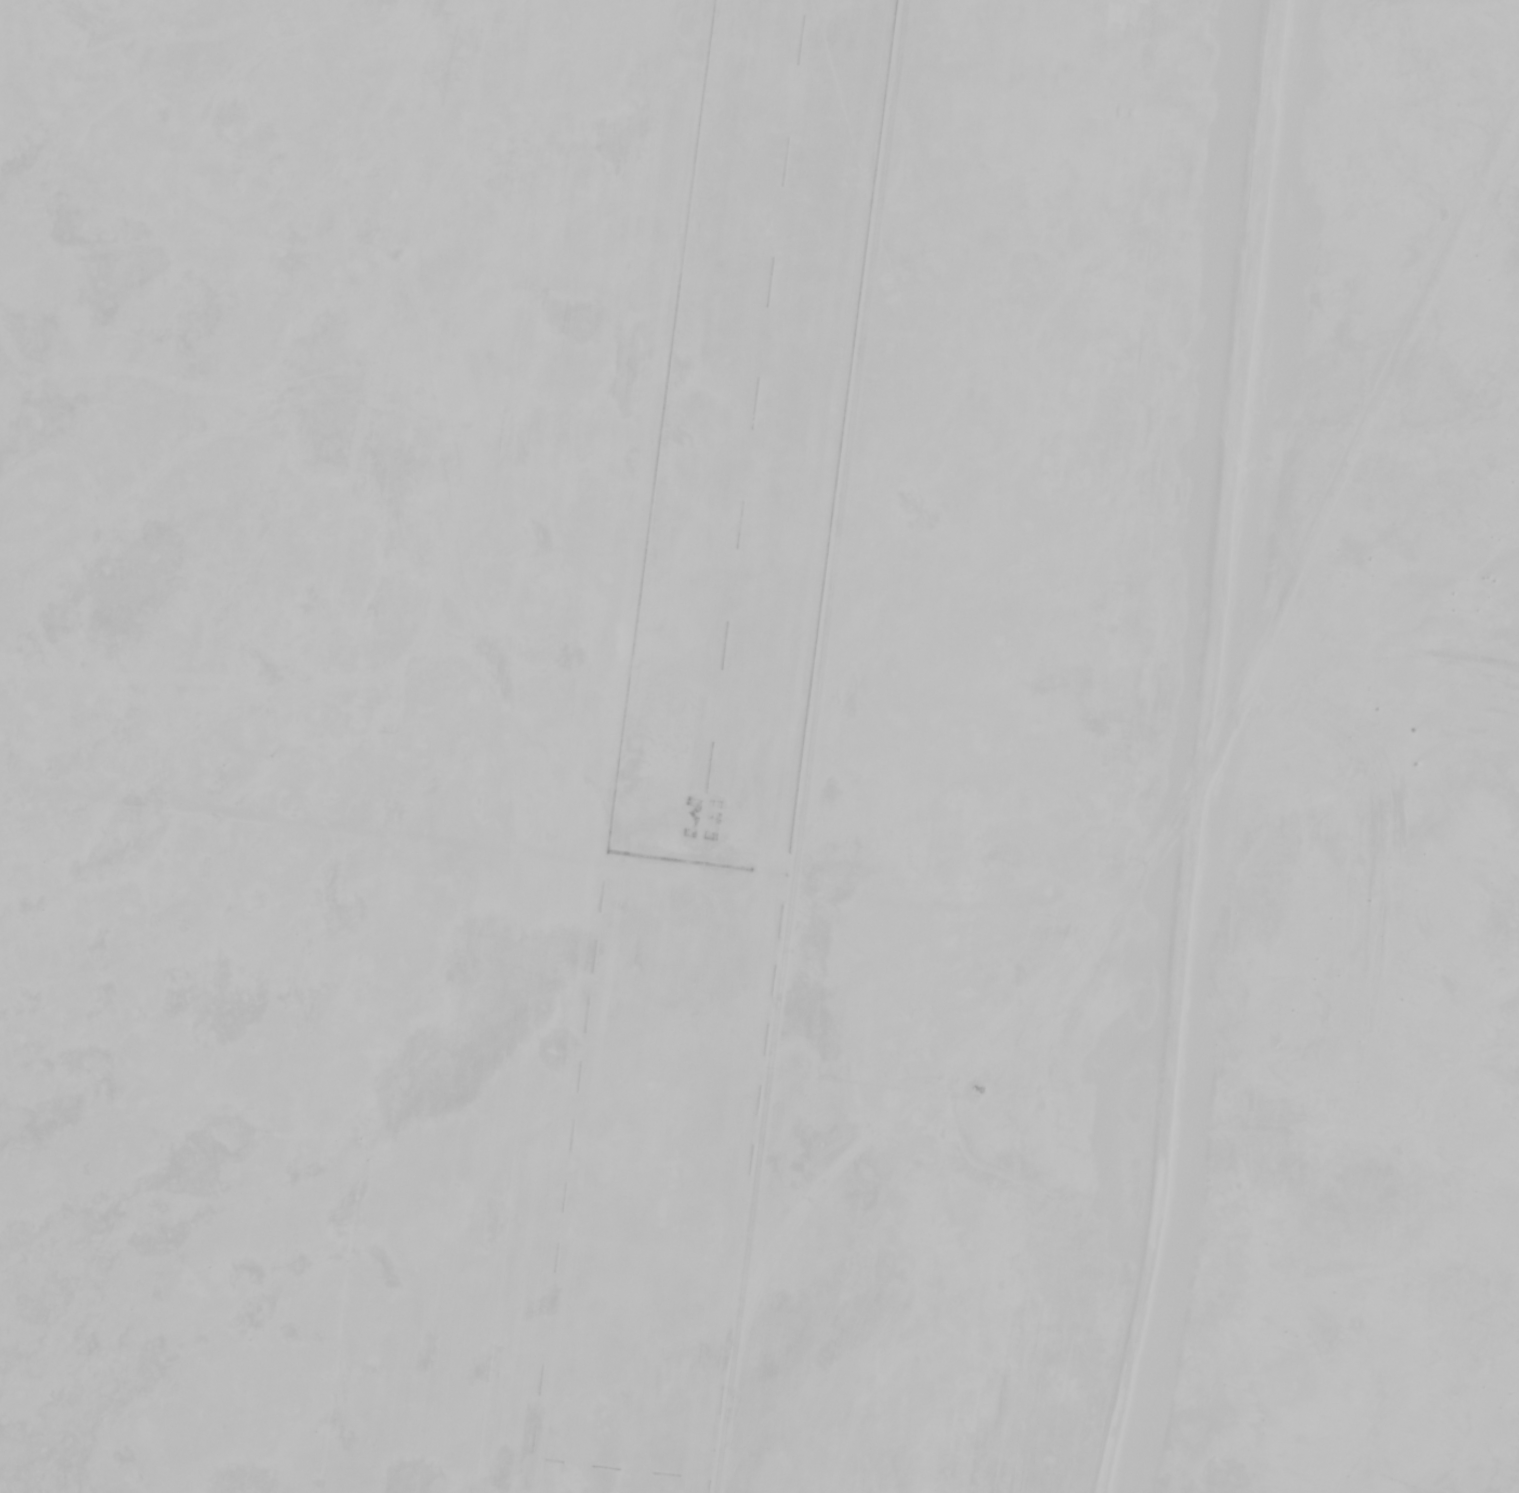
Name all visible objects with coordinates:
airport runway: (707, 746)
road: (1200, 748)

